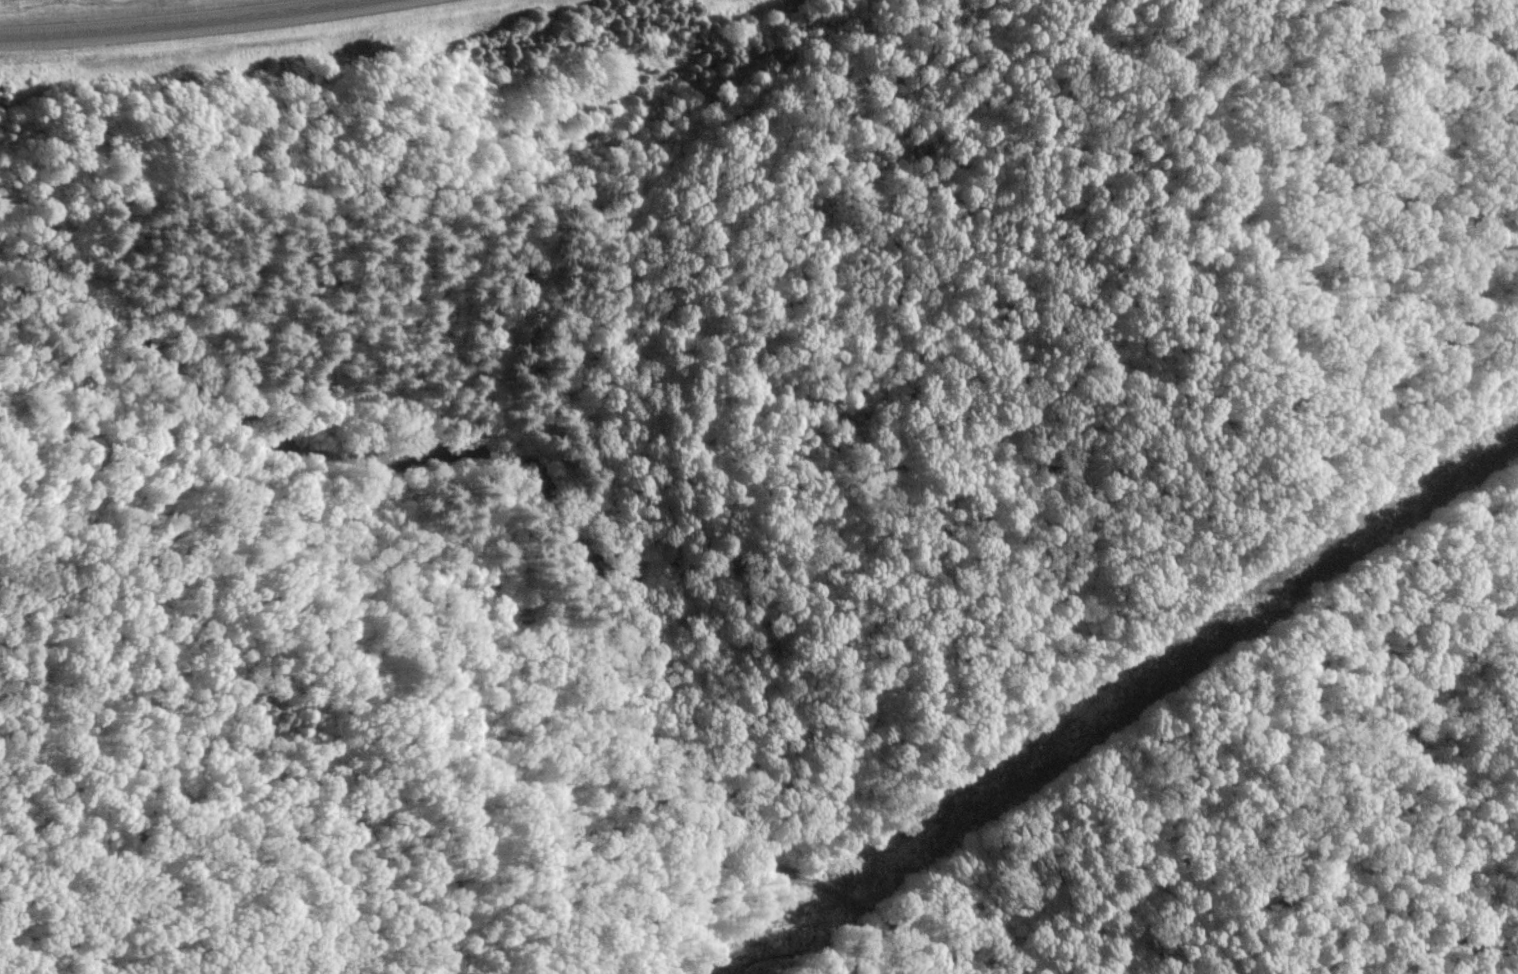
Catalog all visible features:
road: (177, 22)

